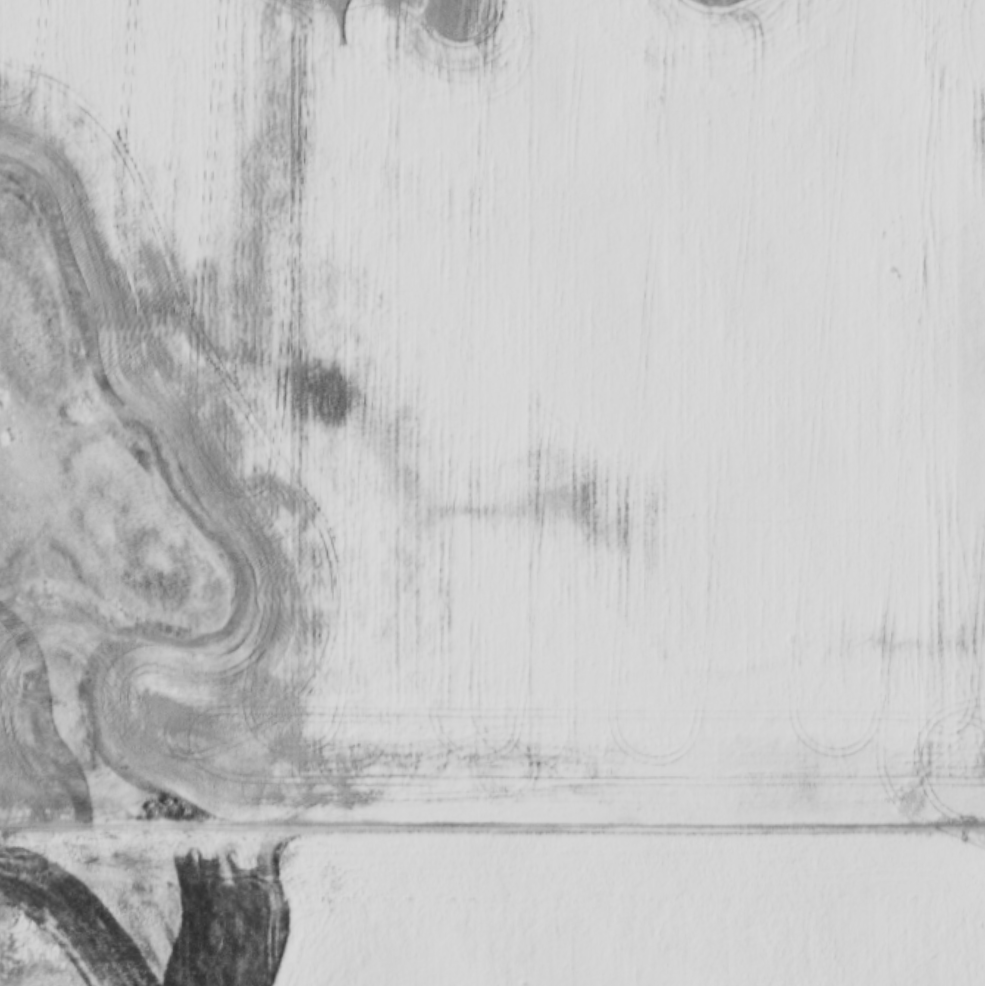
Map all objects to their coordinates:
road: (492, 823)

